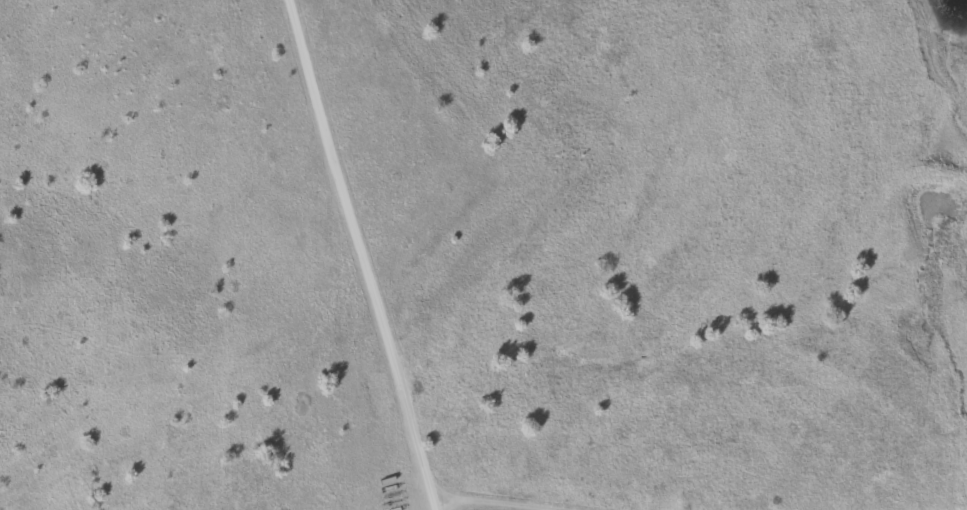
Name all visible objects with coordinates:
road: (362, 255)

